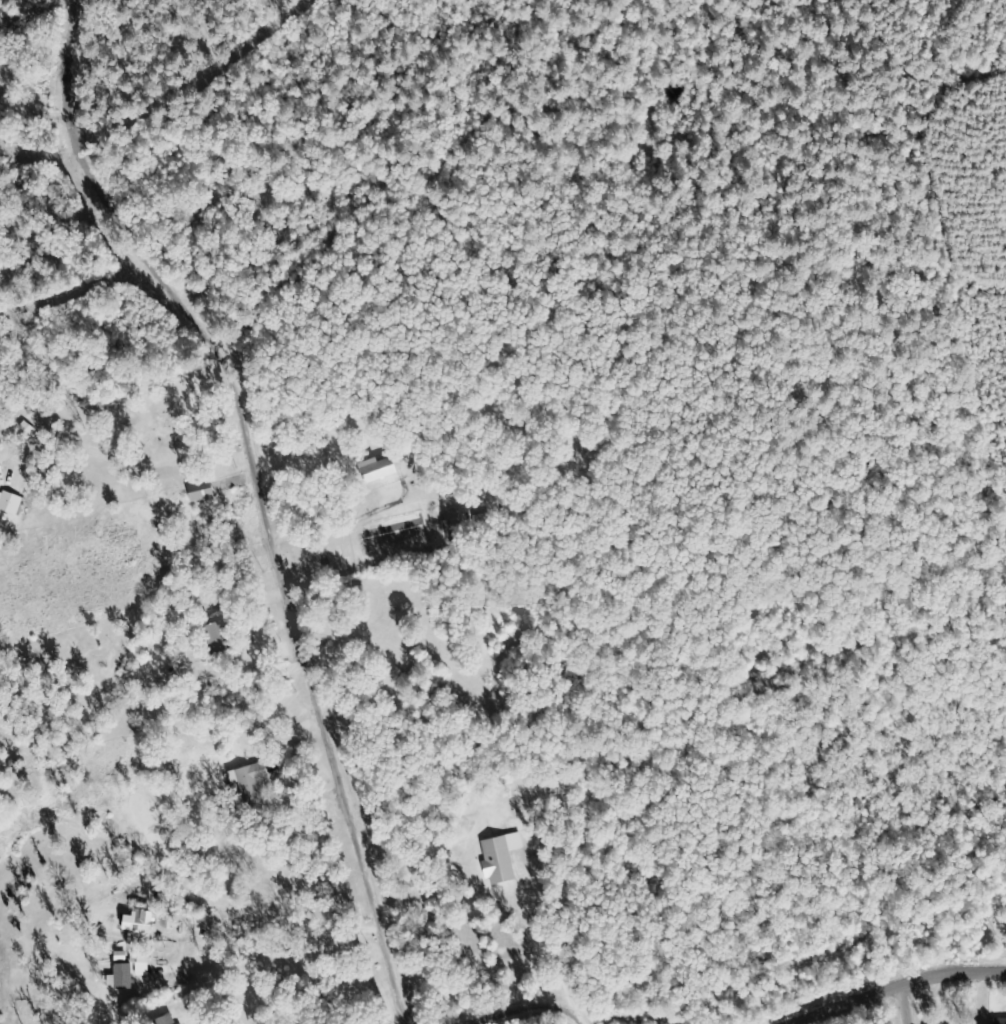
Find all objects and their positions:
road: (839, 211)
road: (184, 294)
road: (811, 443)
building: (380, 469)
building: (198, 492)
building: (9, 501)
building: (452, 526)
building: (496, 621)
road: (492, 699)
building: (249, 783)
building: (499, 859)
building: (161, 925)
building: (137, 927)
building: (140, 965)
building: (122, 977)
road: (933, 1001)
road: (924, 1016)
building: (162, 1020)
building: (999, 1021)
building: (179, 1023)

